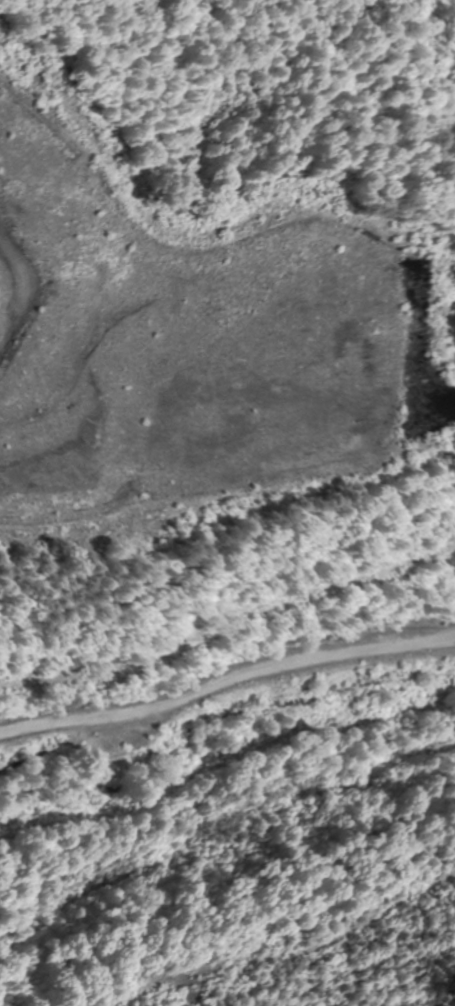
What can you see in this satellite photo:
road: (207, 607)

